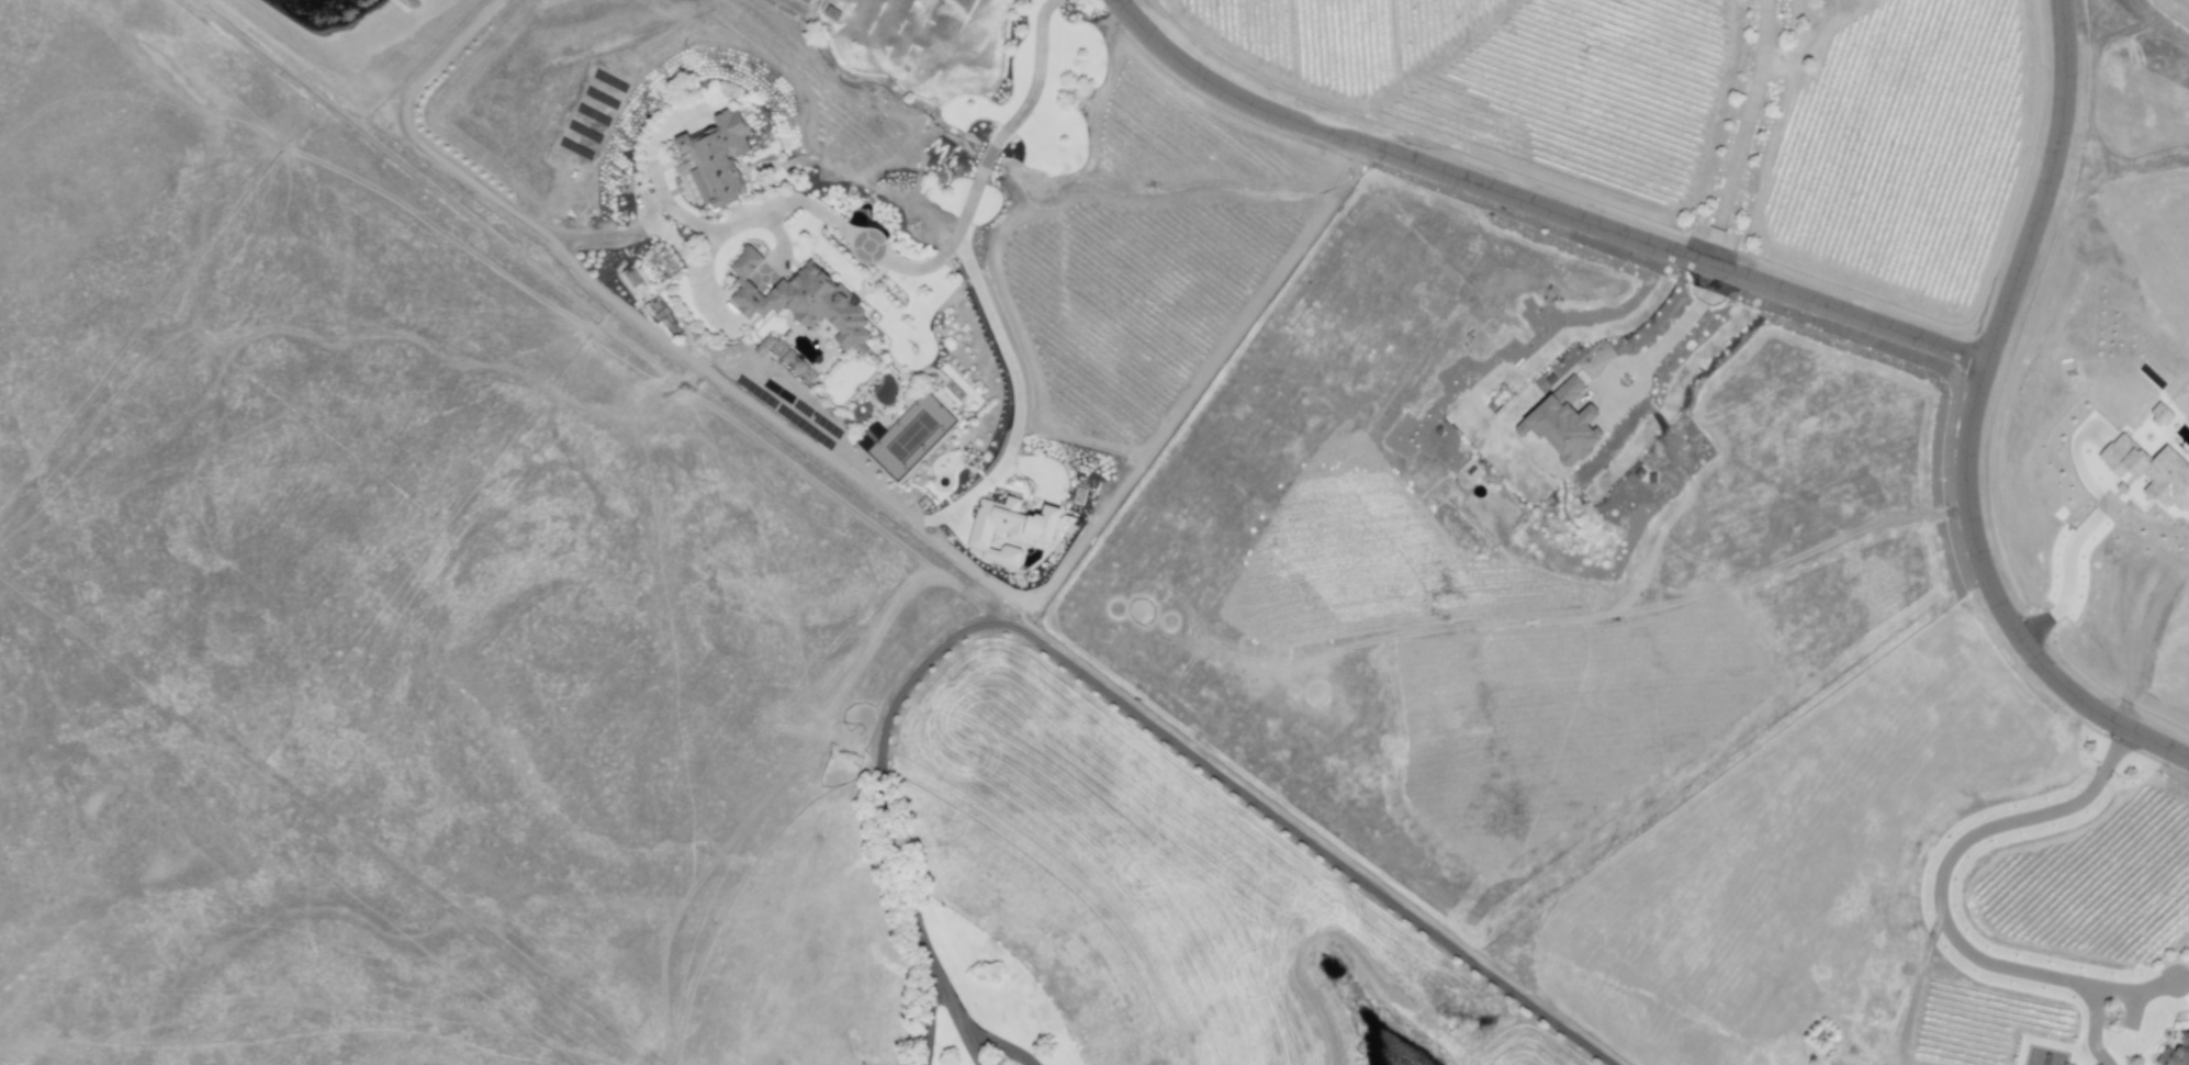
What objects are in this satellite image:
building: (805, 1)
road: (1742, 135)
building: (717, 158)
road: (461, 170)
road: (1536, 210)
road: (894, 261)
building: (801, 300)
road: (1671, 328)
building: (787, 358)
road: (731, 386)
road: (1015, 393)
building: (2160, 415)
building: (1562, 423)
road: (1973, 423)
building: (2151, 471)
building: (1010, 528)
road: (2068, 580)
road: (1093, 683)
road: (1938, 921)
road: (1911, 996)
building: (2176, 1053)
road: (1897, 1063)
road: (1904, 1063)

